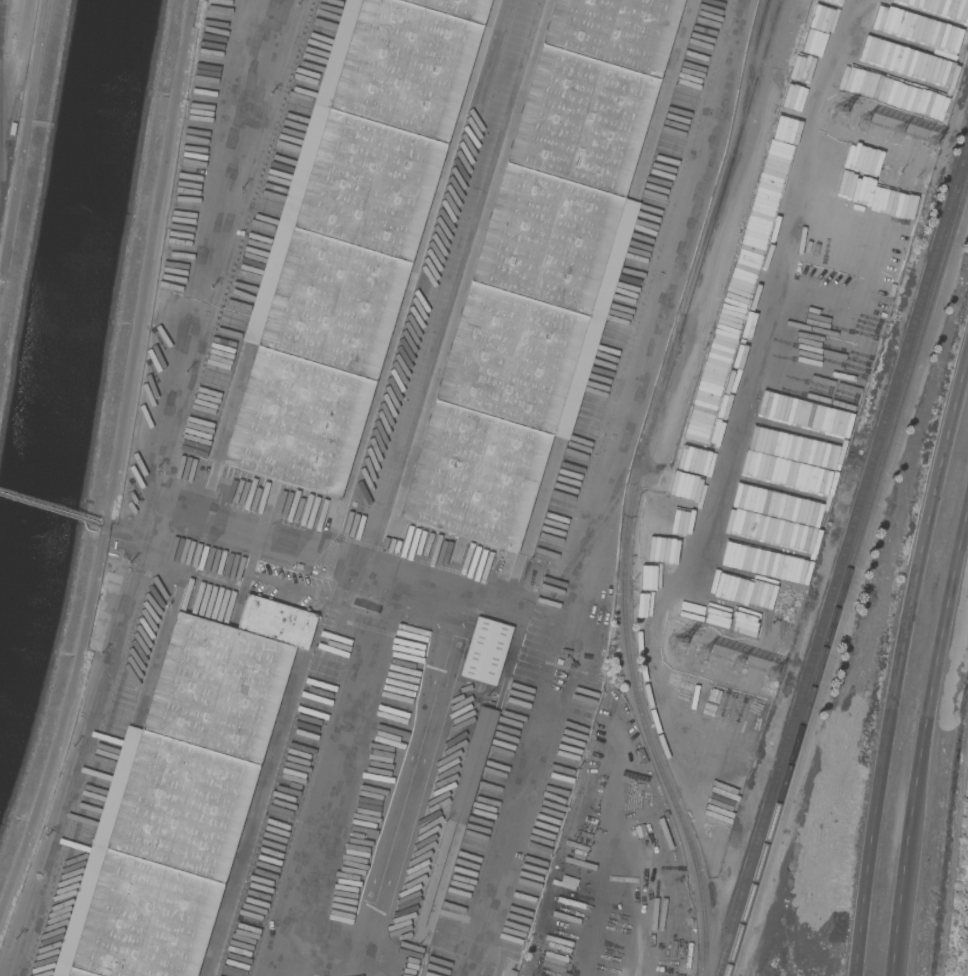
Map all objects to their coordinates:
railway: (2, 26)
railway: (751, 76)
railway: (0, 95)
power tower: (852, 113)
power tower: (885, 126)
power tower: (909, 130)
power tower: (932, 132)
road: (18, 158)
railway: (719, 205)
building: (349, 236)
railway: (431, 249)
road: (214, 251)
building: (541, 270)
road: (656, 314)
railway: (433, 360)
road: (111, 456)
railway: (366, 488)
railway: (597, 533)
building: (115, 549)
railway: (841, 555)
road: (335, 557)
railway: (845, 572)
building: (190, 604)
building: (598, 609)
building: (594, 637)
power tower: (689, 640)
building: (485, 652)
power tower: (726, 655)
road: (899, 658)
power tower: (754, 665)
power tower: (775, 666)
building: (528, 687)
building: (470, 696)
railway: (638, 696)
building: (520, 728)
road: (923, 739)
road: (611, 741)
building: (471, 765)
road: (336, 777)
road: (412, 793)
building: (180, 796)
road: (610, 871)
road: (648, 907)
building: (399, 942)
building: (510, 972)
road: (324, 975)
road: (324, 975)

